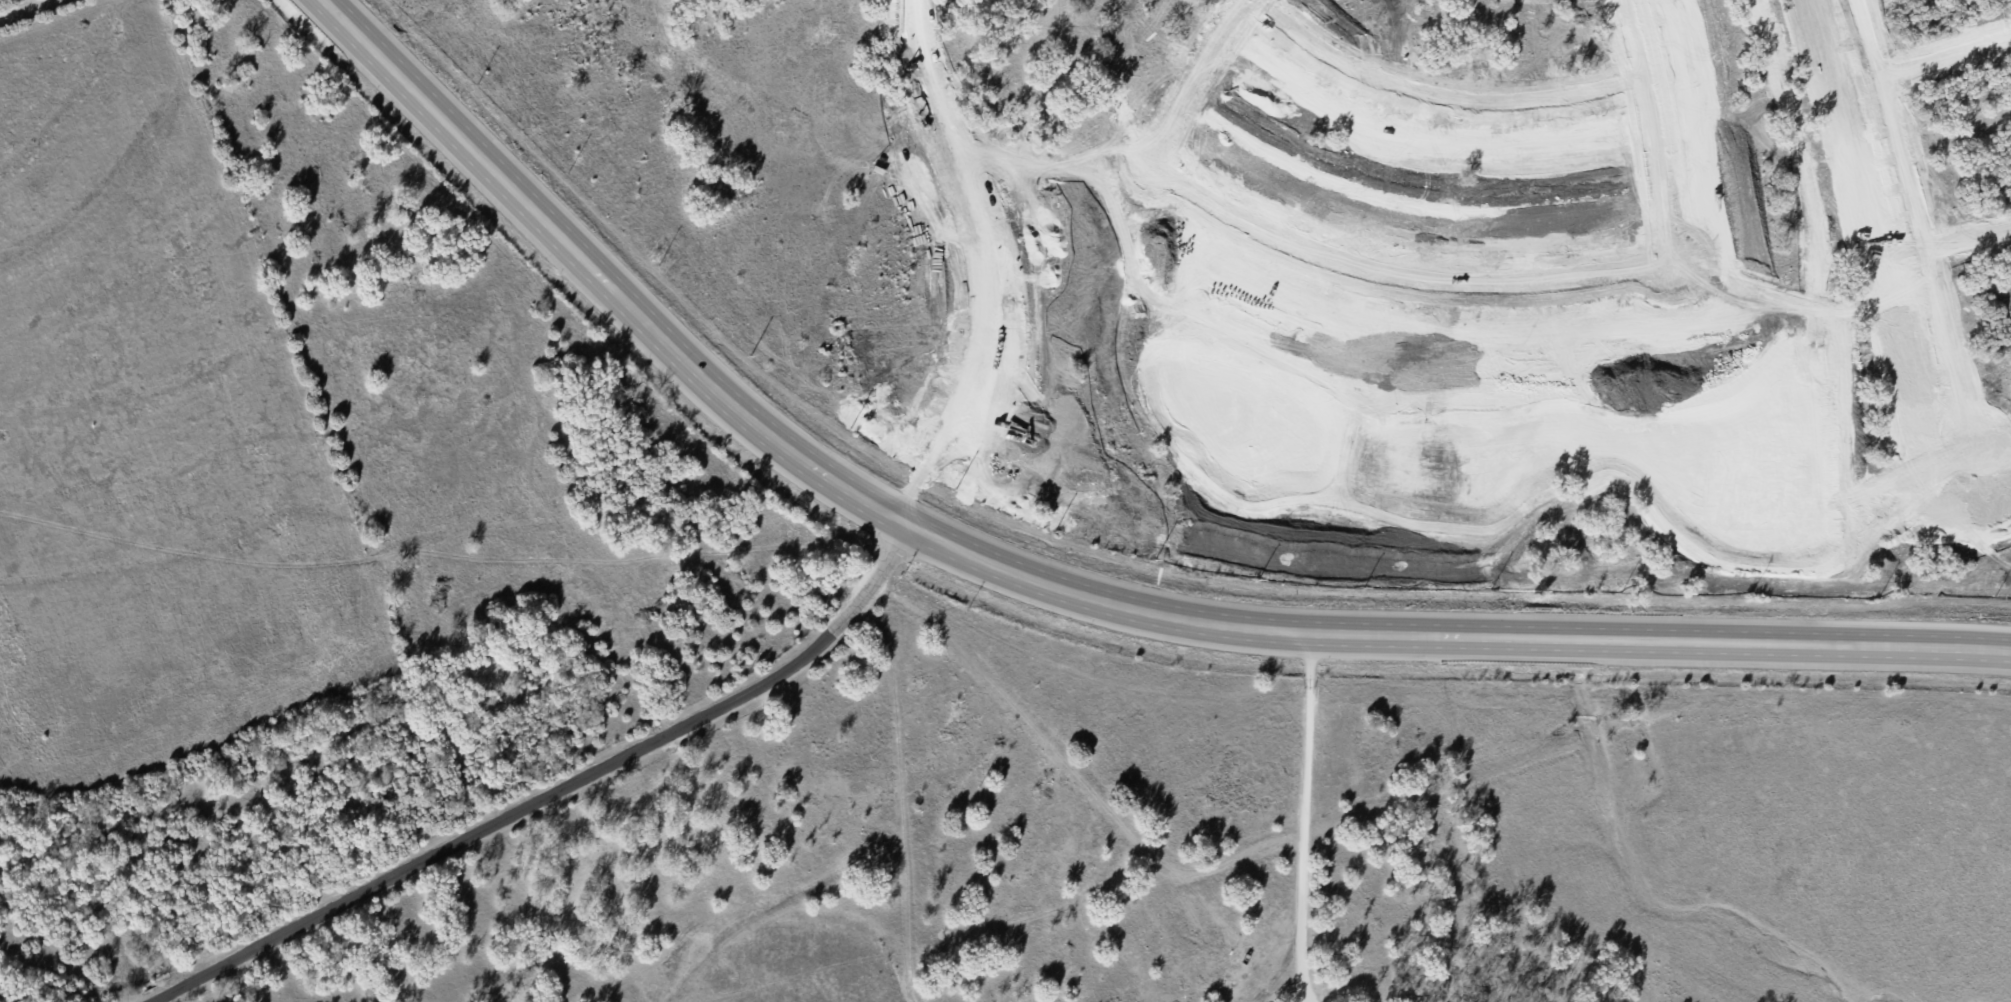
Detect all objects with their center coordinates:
road: (1279, 1)
park: (6, 2)
road: (29, 11)
road: (1881, 36)
road: (1624, 38)
road: (1949, 56)
road: (924, 71)
road: (1209, 76)
road: (1442, 93)
road: (955, 148)
road: (1915, 161)
road: (1648, 169)
road: (1923, 238)
road: (1969, 242)
road: (1438, 278)
road: (1964, 347)
road: (1847, 360)
road: (1557, 391)
road: (1062, 588)
road: (560, 793)
road: (1309, 818)

